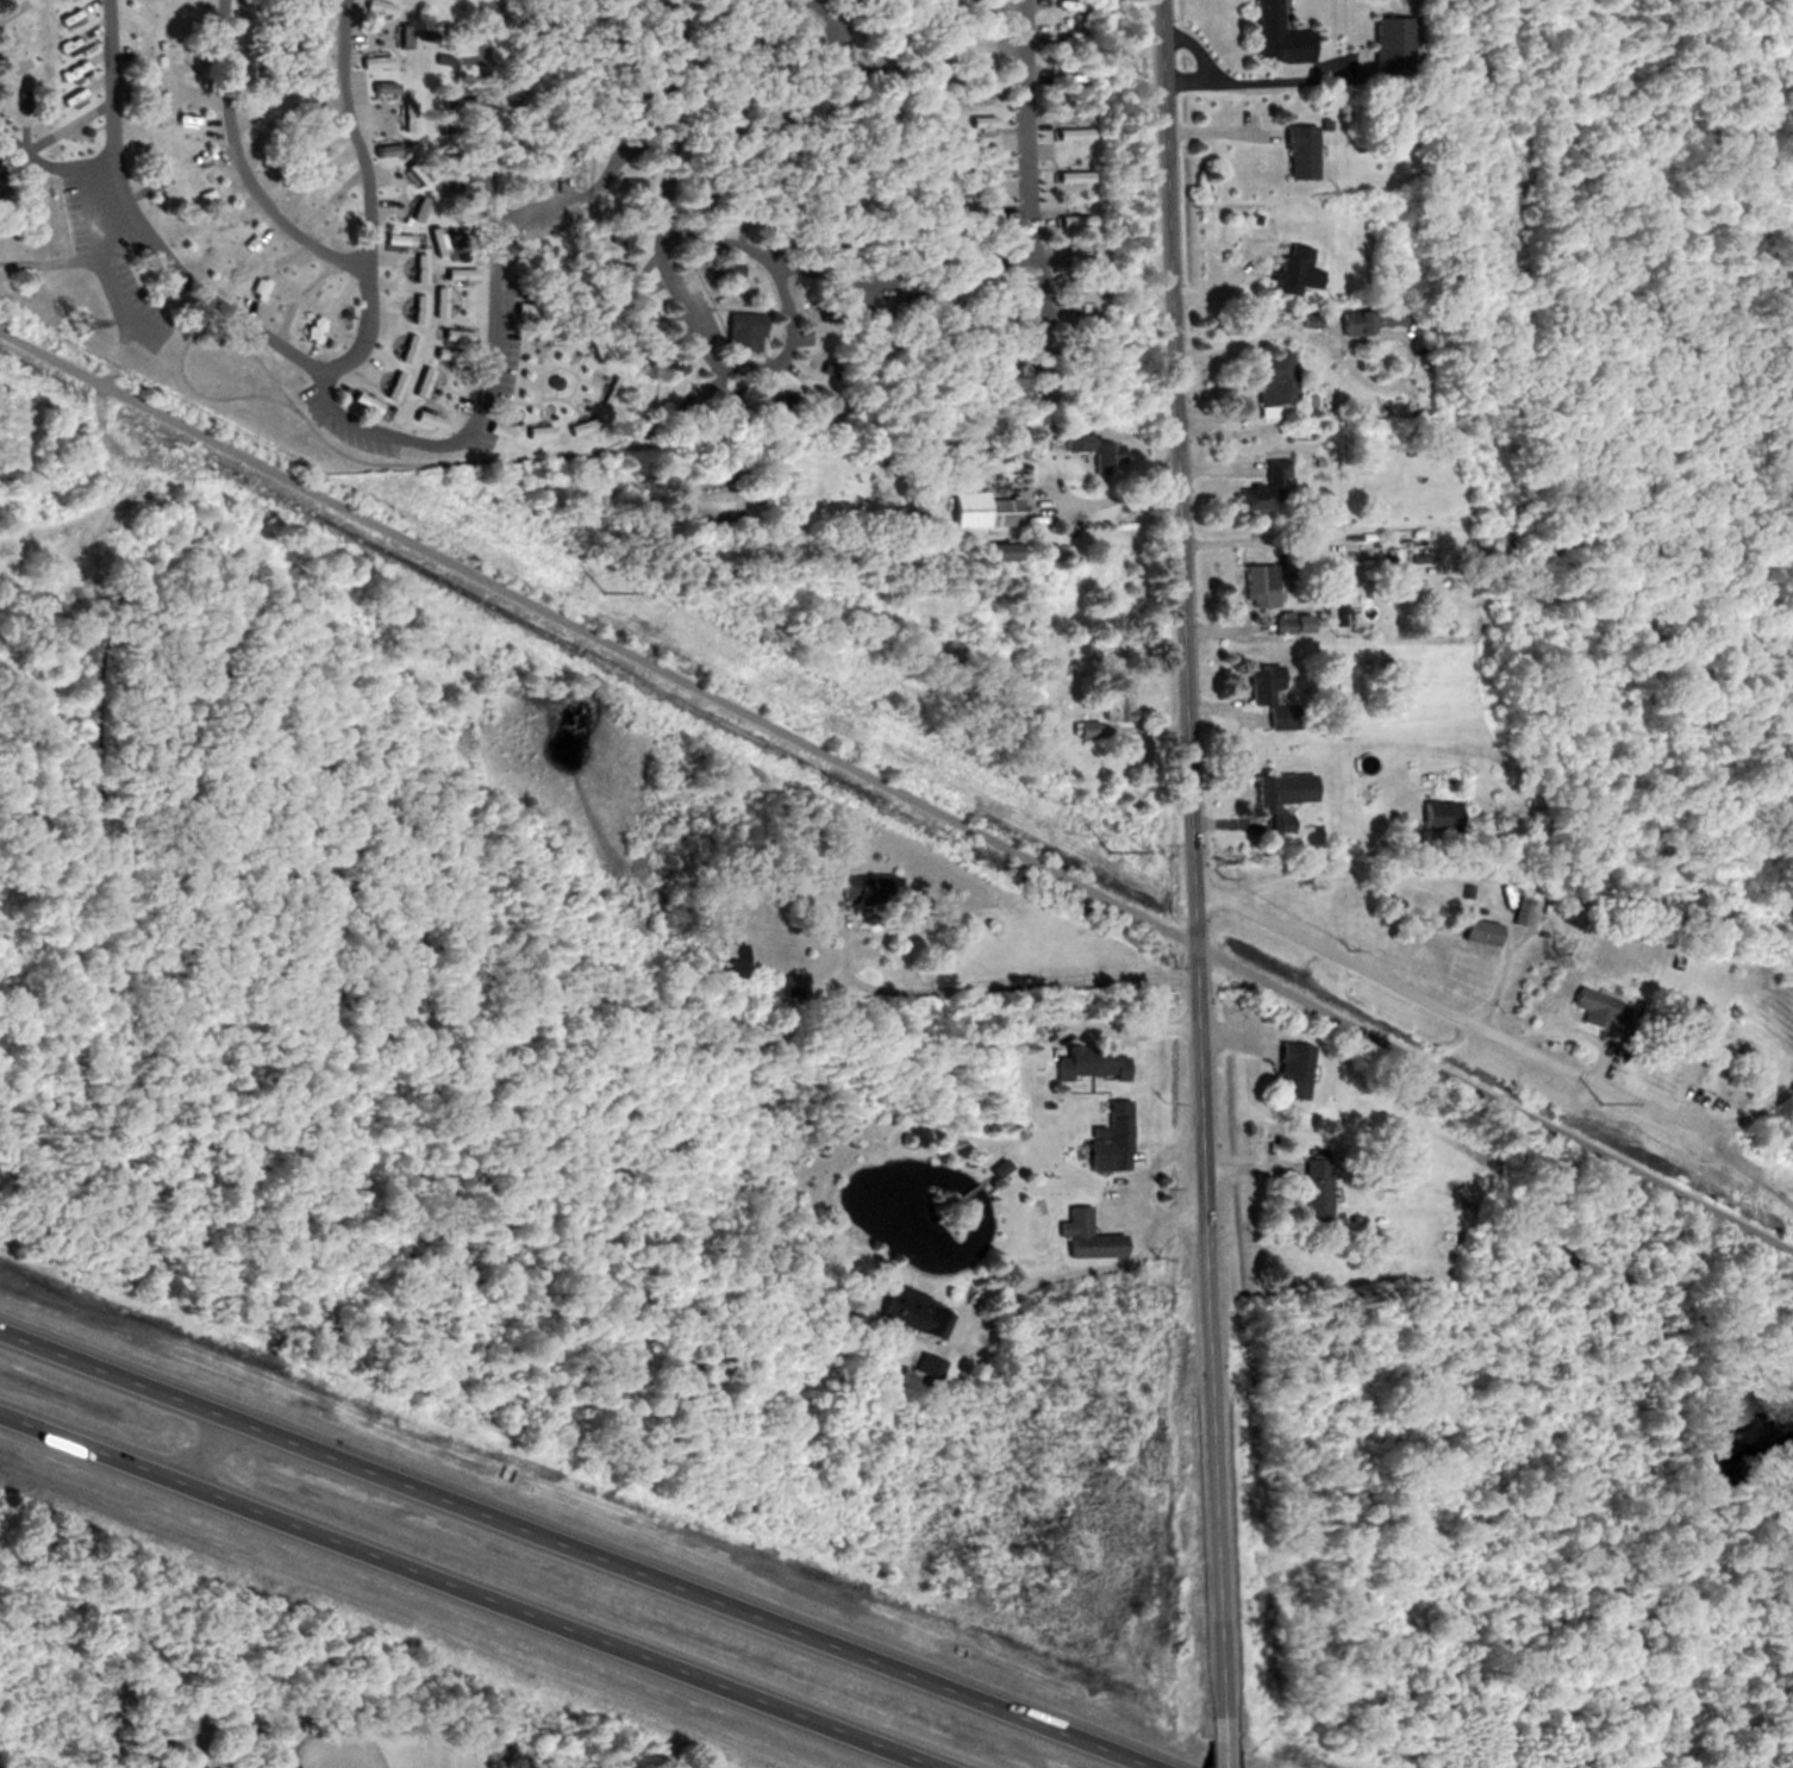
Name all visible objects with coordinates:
building: (680, 0)
building: (871, 2)
building: (527, 4)
building: (375, 5)
building: (70, 18)
building: (531, 32)
building: (399, 33)
building: (424, 33)
building: (607, 33)
building: (791, 33)
building: (880, 33)
building: (729, 36)
building: (1275, 36)
building: (761, 39)
building: (71, 43)
building: (1387, 45)
building: (695, 46)
building: (632, 56)
building: (441, 57)
building: (370, 60)
building: (786, 62)
building: (624, 79)
building: (380, 86)
building: (976, 86)
building: (758, 90)
building: (513, 94)
building: (848, 95)
building: (700, 96)
building: (21, 98)
building: (448, 99)
building: (886, 100)
building: (629, 102)
road: (488, 111)
road: (794, 111)
building: (404, 114)
building: (976, 119)
building: (445, 125)
building: (563, 126)
building: (841, 126)
building: (1067, 131)
road: (20, 148)
building: (382, 149)
building: (804, 149)
building: (1297, 151)
building: (446, 157)
building: (549, 157)
building: (718, 158)
building: (761, 161)
road: (55, 167)
road: (244, 167)
building: (842, 168)
road: (113, 169)
building: (976, 170)
building: (411, 171)
building: (1068, 174)
building: (627, 182)
building: (446, 186)
building: (886, 194)
building: (743, 195)
building: (704, 196)
road: (1029, 198)
road: (369, 199)
building: (775, 201)
building: (27, 205)
building: (824, 206)
building: (975, 206)
building: (413, 207)
building: (1069, 218)
building: (796, 225)
building: (886, 230)
building: (616, 235)
building: (939, 243)
road: (735, 246)
building: (831, 248)
road: (40, 261)
building: (1074, 261)
building: (614, 268)
building: (1292, 269)
building: (724, 271)
road: (196, 287)
building: (638, 307)
building: (825, 313)
building: (991, 318)
building: (1079, 318)
building: (1364, 318)
power tower: (70, 319)
road: (496, 325)
building: (742, 335)
road: (1287, 335)
building: (941, 336)
railway: (894, 337)
building: (657, 341)
railway: (186, 348)
building: (992, 354)
building: (1073, 357)
road: (521, 360)
road: (581, 367)
road: (725, 367)
building: (827, 367)
road: (544, 368)
road: (563, 368)
building: (671, 368)
building: (1268, 375)
road: (577, 381)
railway: (657, 382)
building: (1056, 382)
road: (561, 400)
building: (757, 401)
building: (685, 402)
building: (783, 402)
building: (729, 404)
road: (532, 406)
building: (1089, 445)
building: (1266, 487)
road: (1108, 495)
building: (998, 510)
building: (994, 550)
building: (1254, 586)
power tower: (602, 592)
building: (1333, 598)
building: (1288, 623)
building: (1261, 682)
building: (1116, 702)
building: (1083, 729)
road: (896, 788)
building: (1276, 799)
building: (1437, 813)
power tower: (1107, 851)
road: (1188, 866)
road: (1410, 879)
building: (864, 887)
building: (1518, 908)
building: (1475, 931)
building: (723, 957)
road: (983, 986)
building: (1591, 1007)
building: (1691, 1035)
road: (1493, 1041)
building: (1086, 1062)
building: (1289, 1069)
power tower: (1601, 1104)
building: (1107, 1138)
building: (1314, 1188)
road: (1139, 1200)
building: (1083, 1236)
road: (1075, 1279)
building: (910, 1310)
building: (925, 1364)
road: (579, 1548)
road: (466, 1592)
park: (382, 1749)
road: (1218, 1750)

